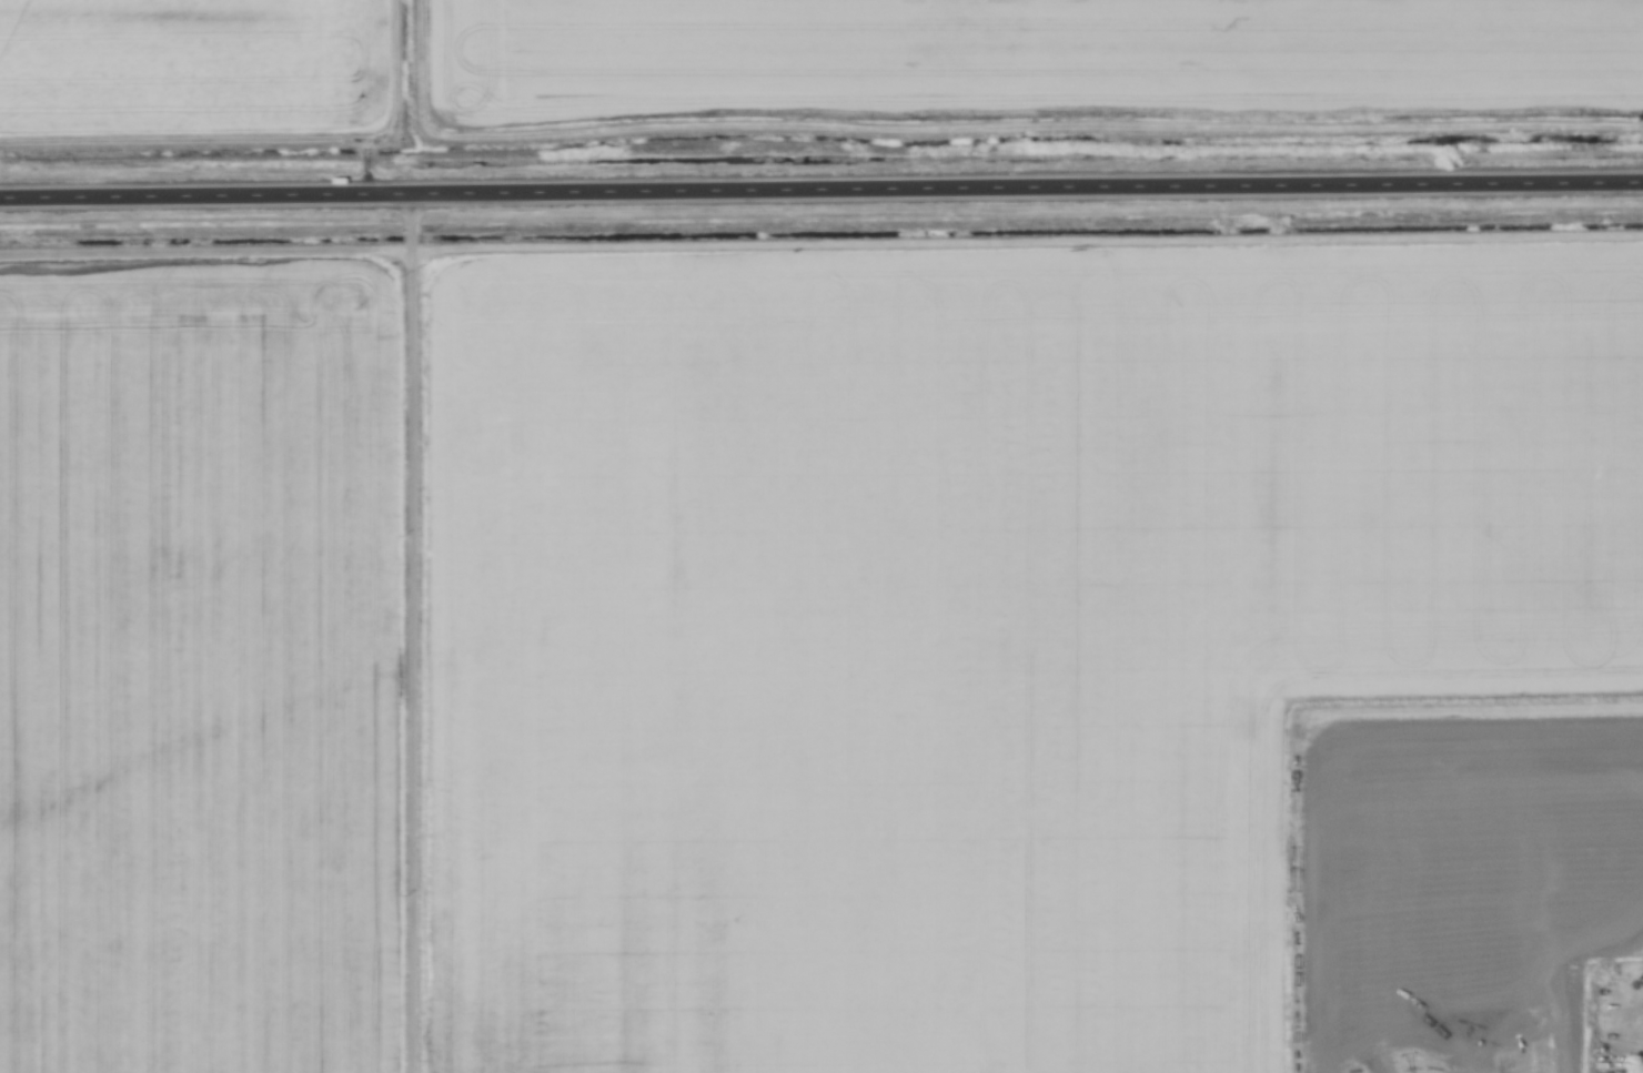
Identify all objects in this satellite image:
road: (820, 191)
road: (421, 634)

